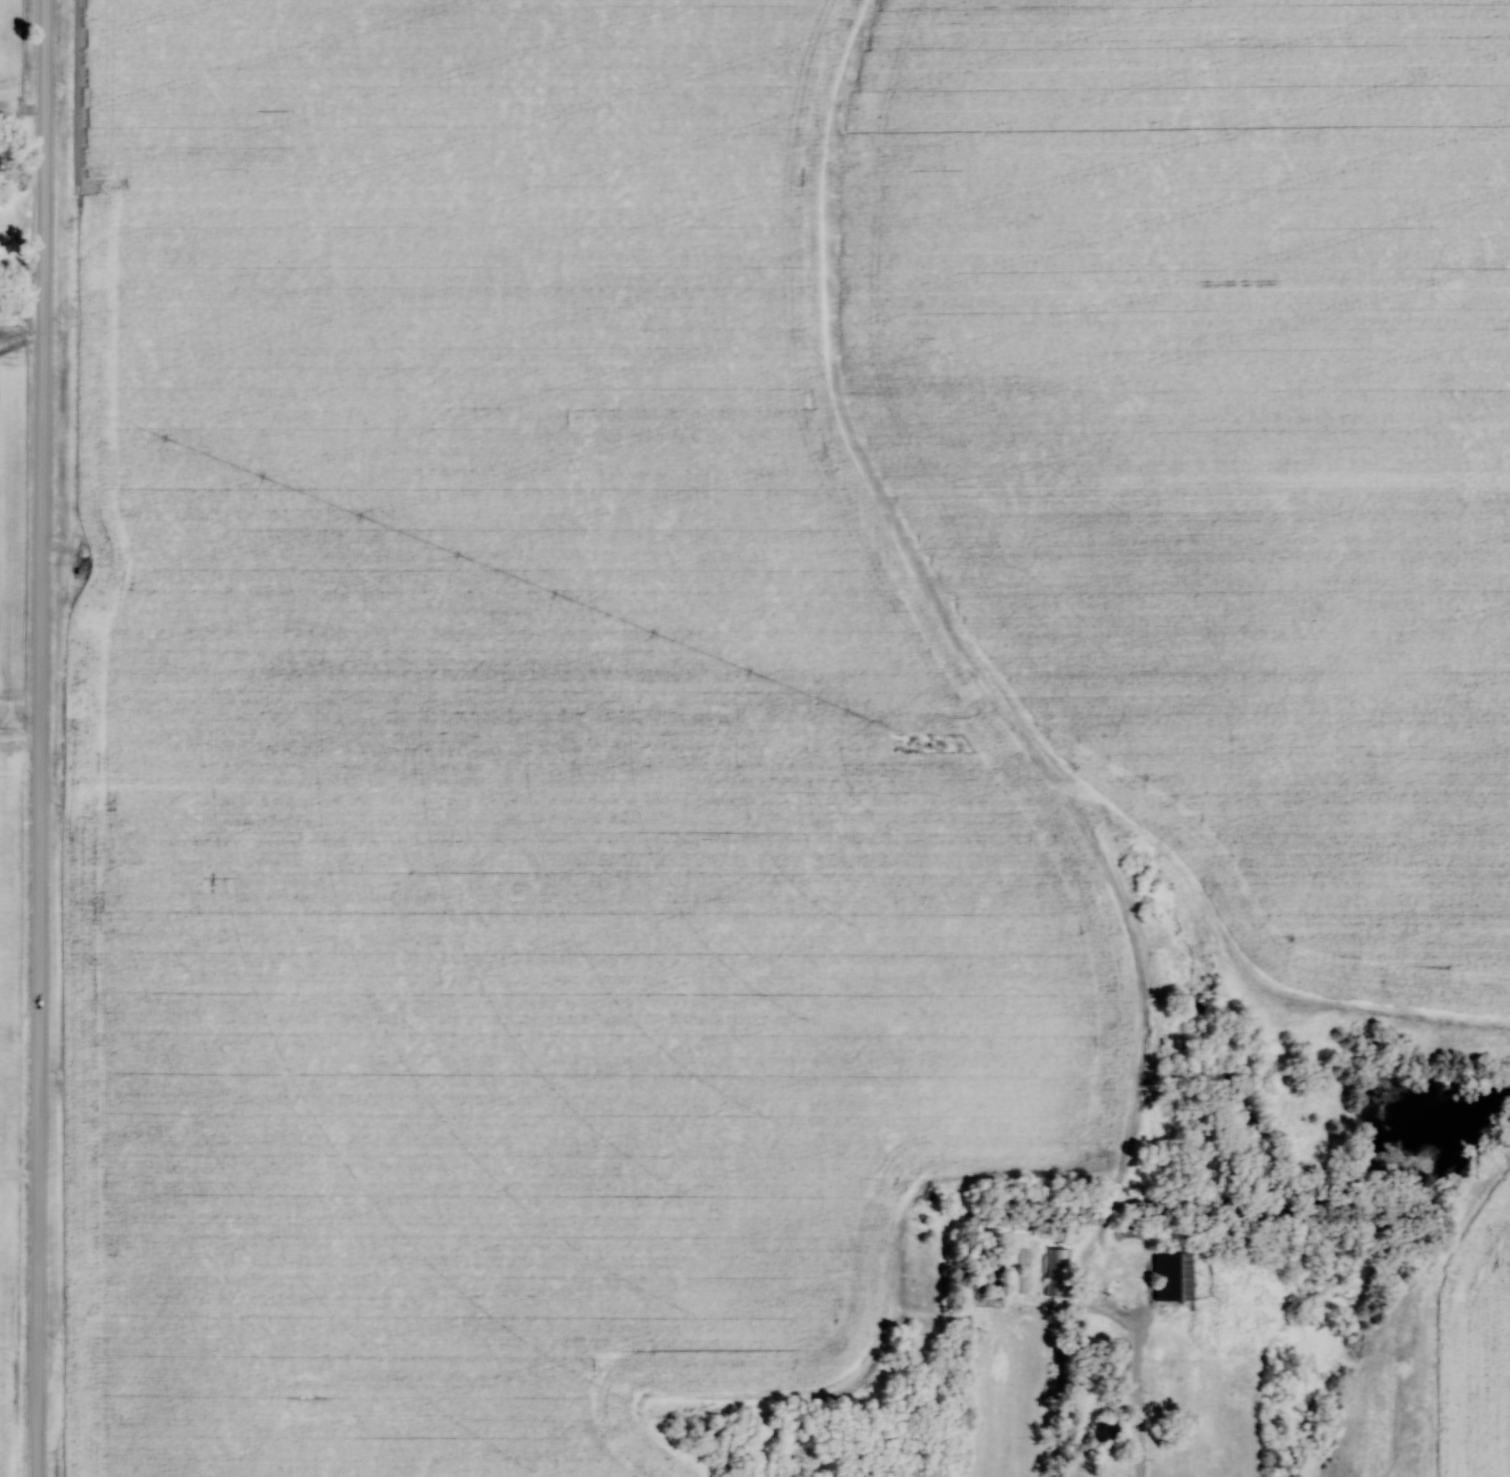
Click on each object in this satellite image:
road: (42, 738)
building: (1059, 1265)
building: (1172, 1276)
road: (1136, 1360)
building: (1102, 1429)

